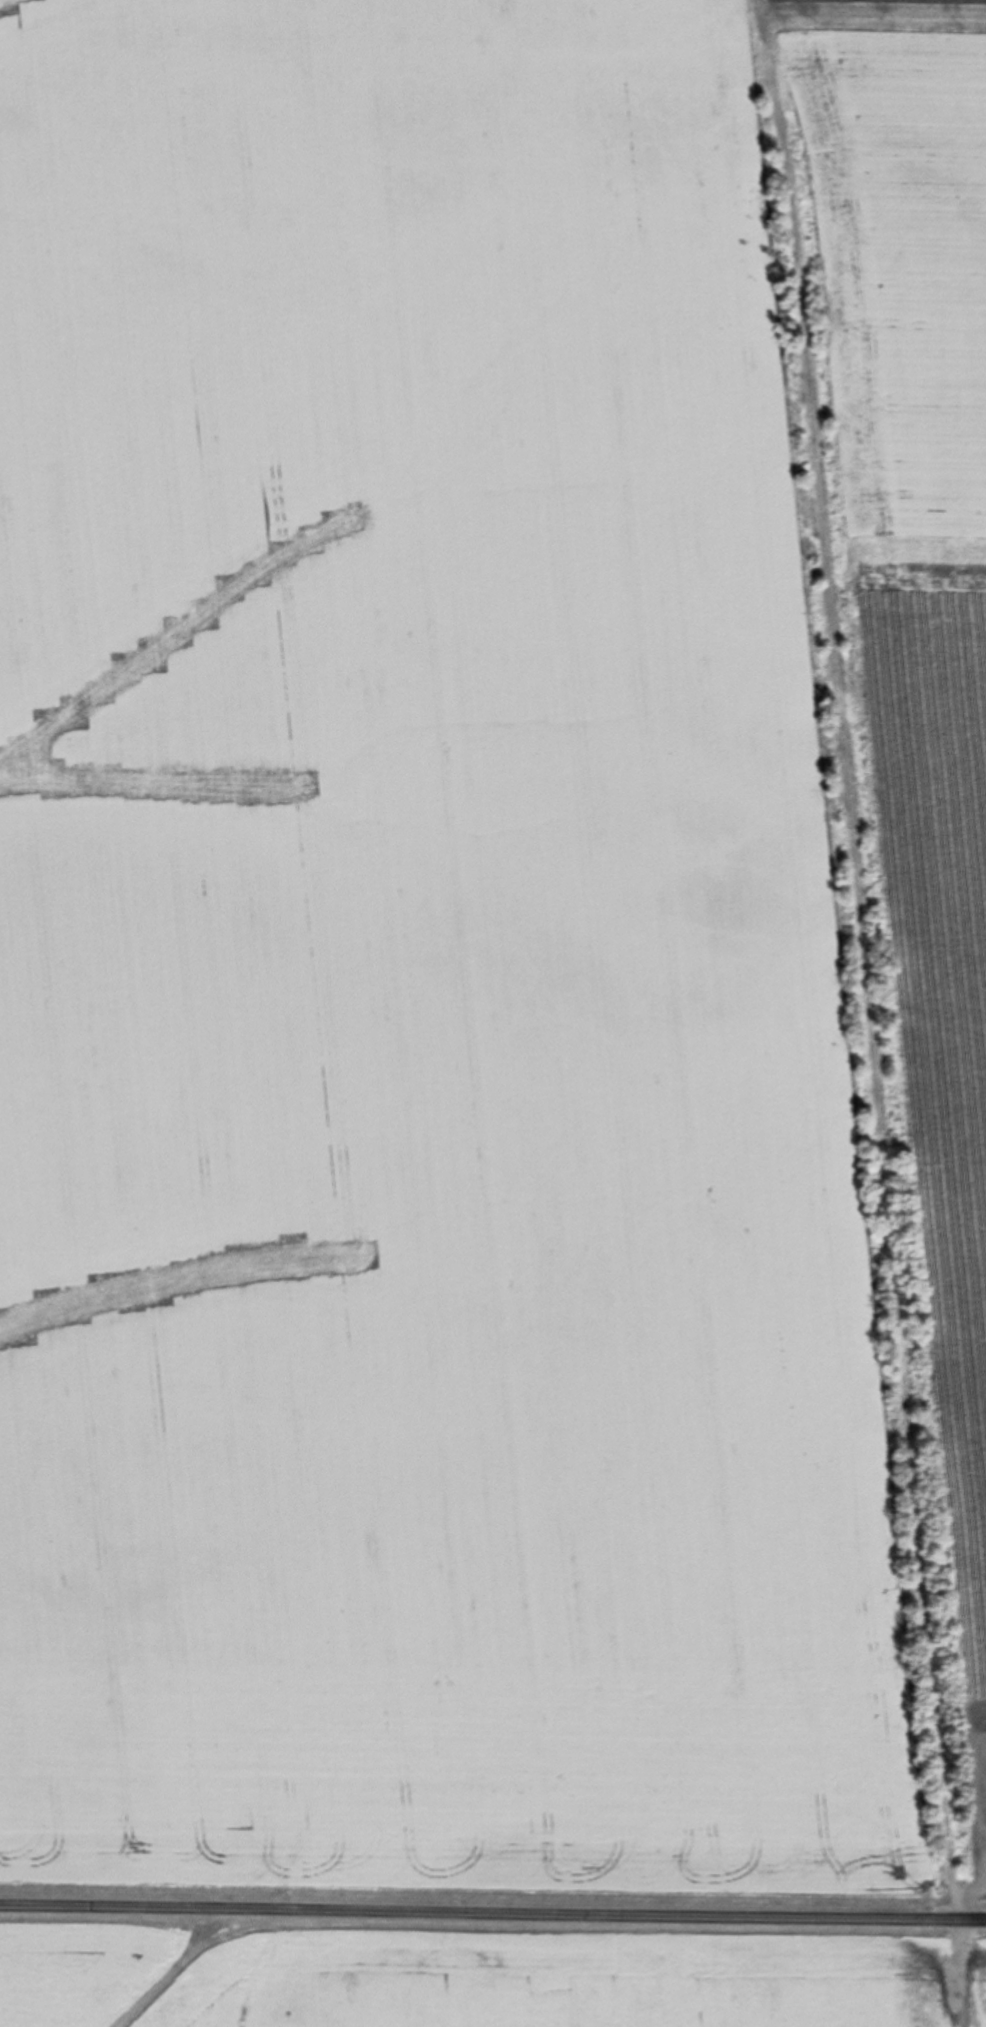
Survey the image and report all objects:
road: (493, 1911)

